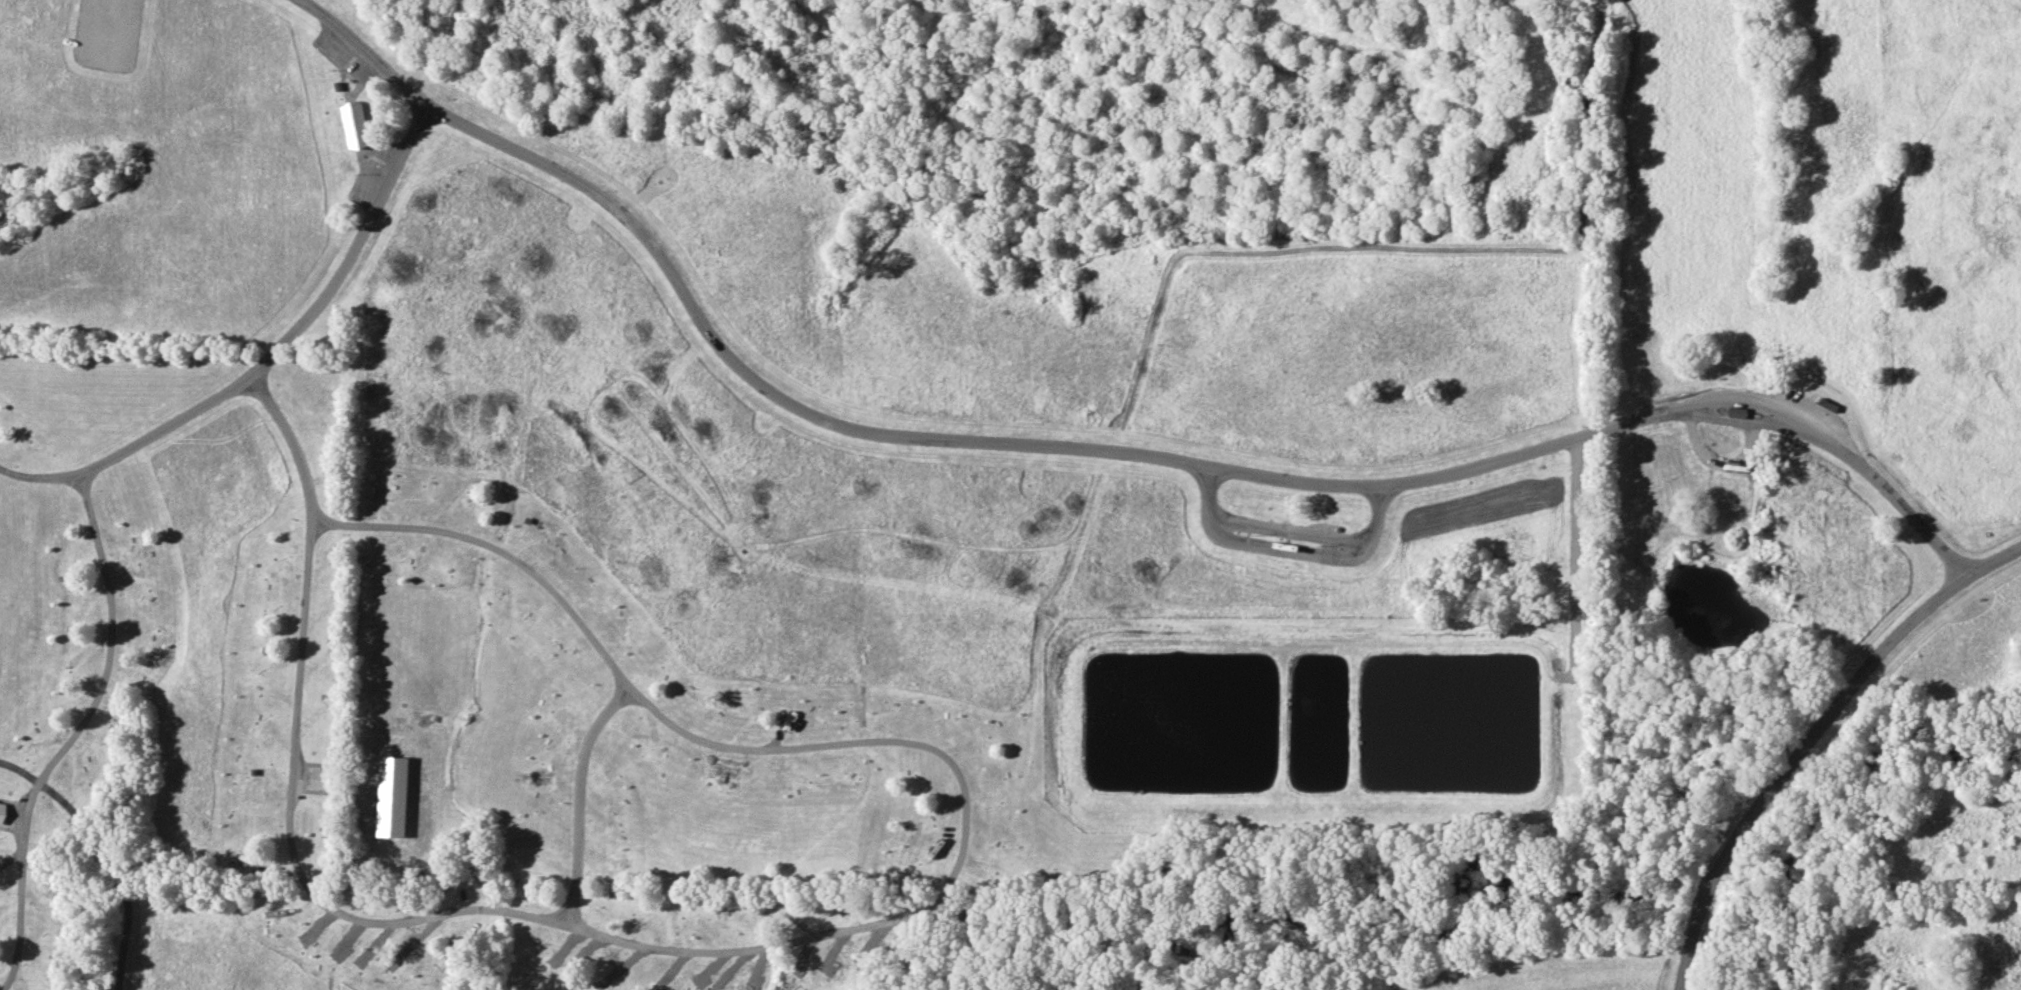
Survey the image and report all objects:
parking lot: (108, 34)
building: (356, 124)
road: (1584, 132)
road: (974, 297)
road: (293, 334)
road: (1765, 401)
building: (1828, 407)
building: (1739, 413)
road: (1761, 425)
road: (920, 436)
road: (294, 445)
park: (1010, 495)
road: (1901, 505)
road: (1292, 541)
road: (1992, 561)
road: (1048, 610)
road: (95, 701)
road: (1785, 759)
building: (393, 796)
road: (580, 801)
building: (2, 812)
road: (105, 855)
road: (874, 923)
crop: (1562, 978)

